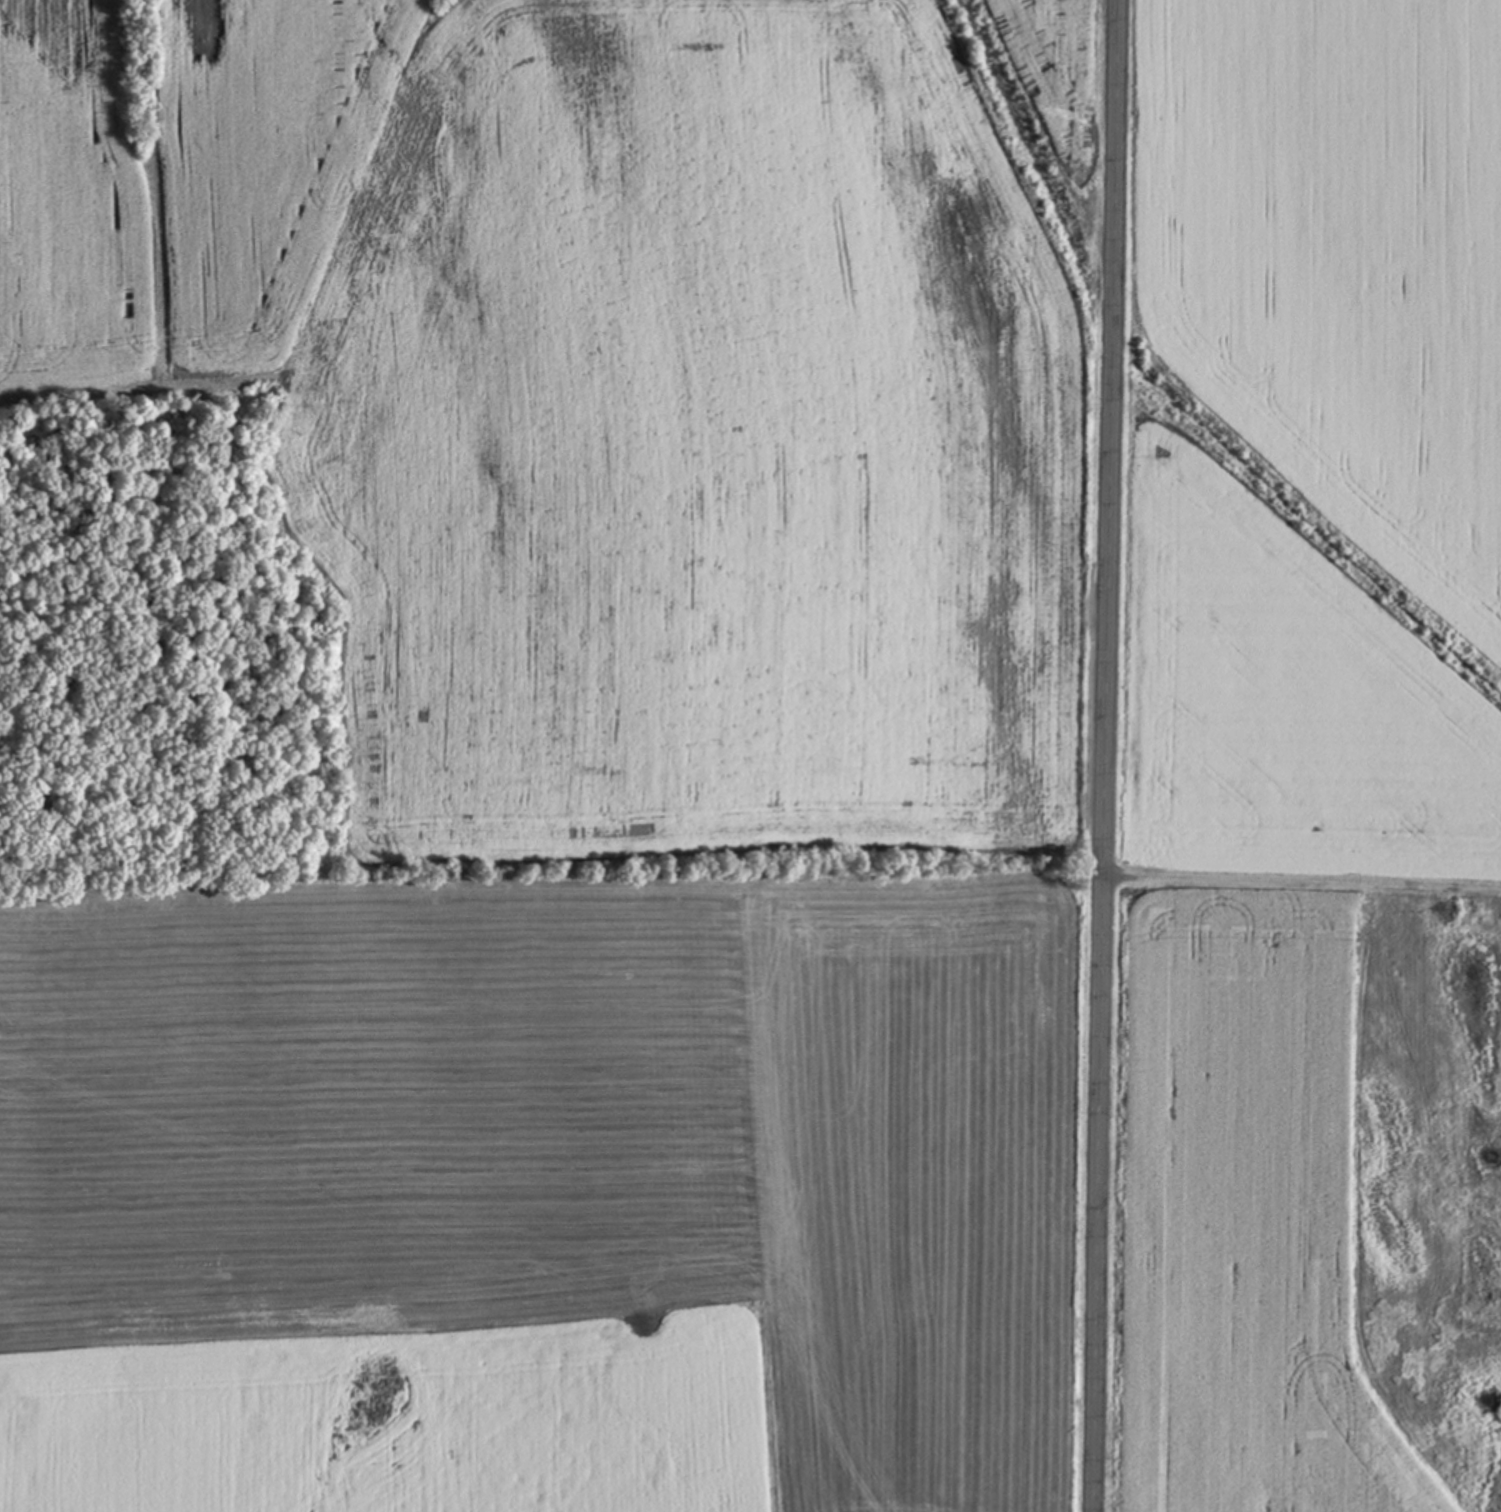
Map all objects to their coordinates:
road: (1104, 756)

